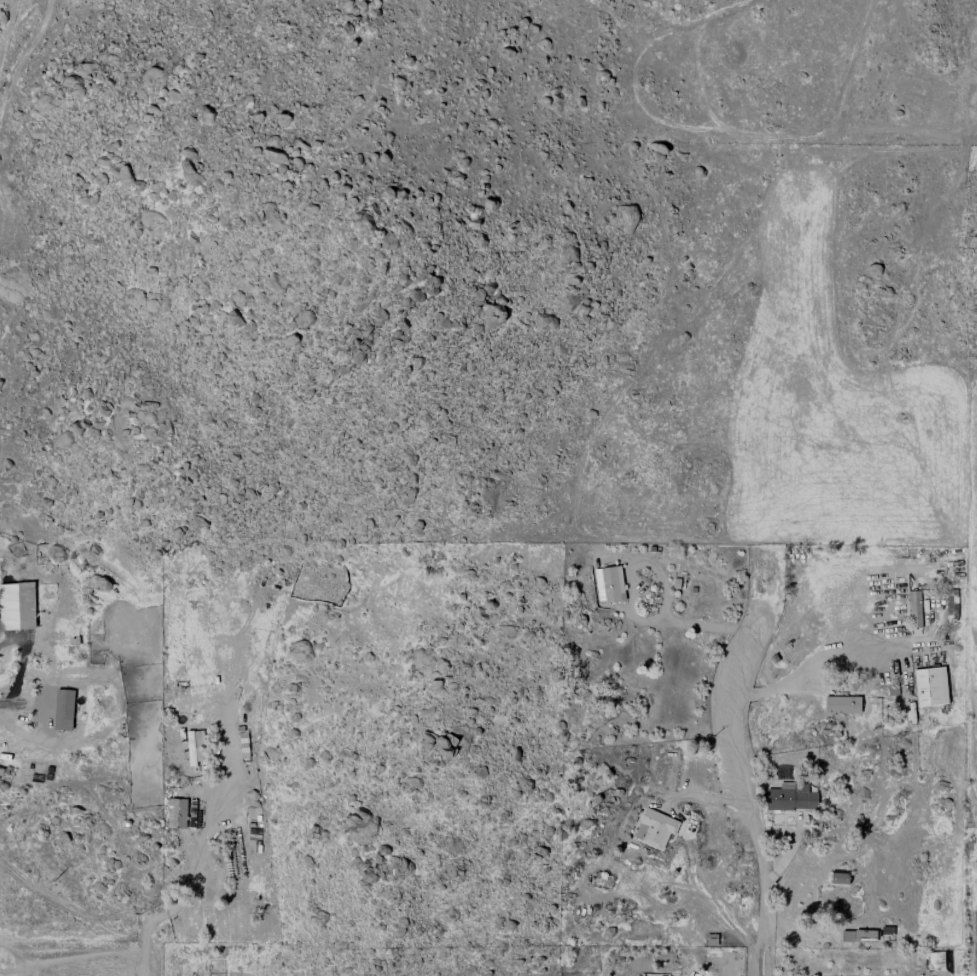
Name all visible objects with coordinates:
road: (657, 572)
building: (607, 584)
building: (59, 585)
building: (950, 606)
building: (8, 607)
building: (913, 609)
building: (929, 686)
building: (841, 705)
building: (62, 707)
road: (11, 729)
building: (194, 746)
building: (790, 797)
road: (742, 798)
building: (176, 812)
building: (654, 828)
building: (838, 878)
road: (90, 917)
road: (750, 975)

